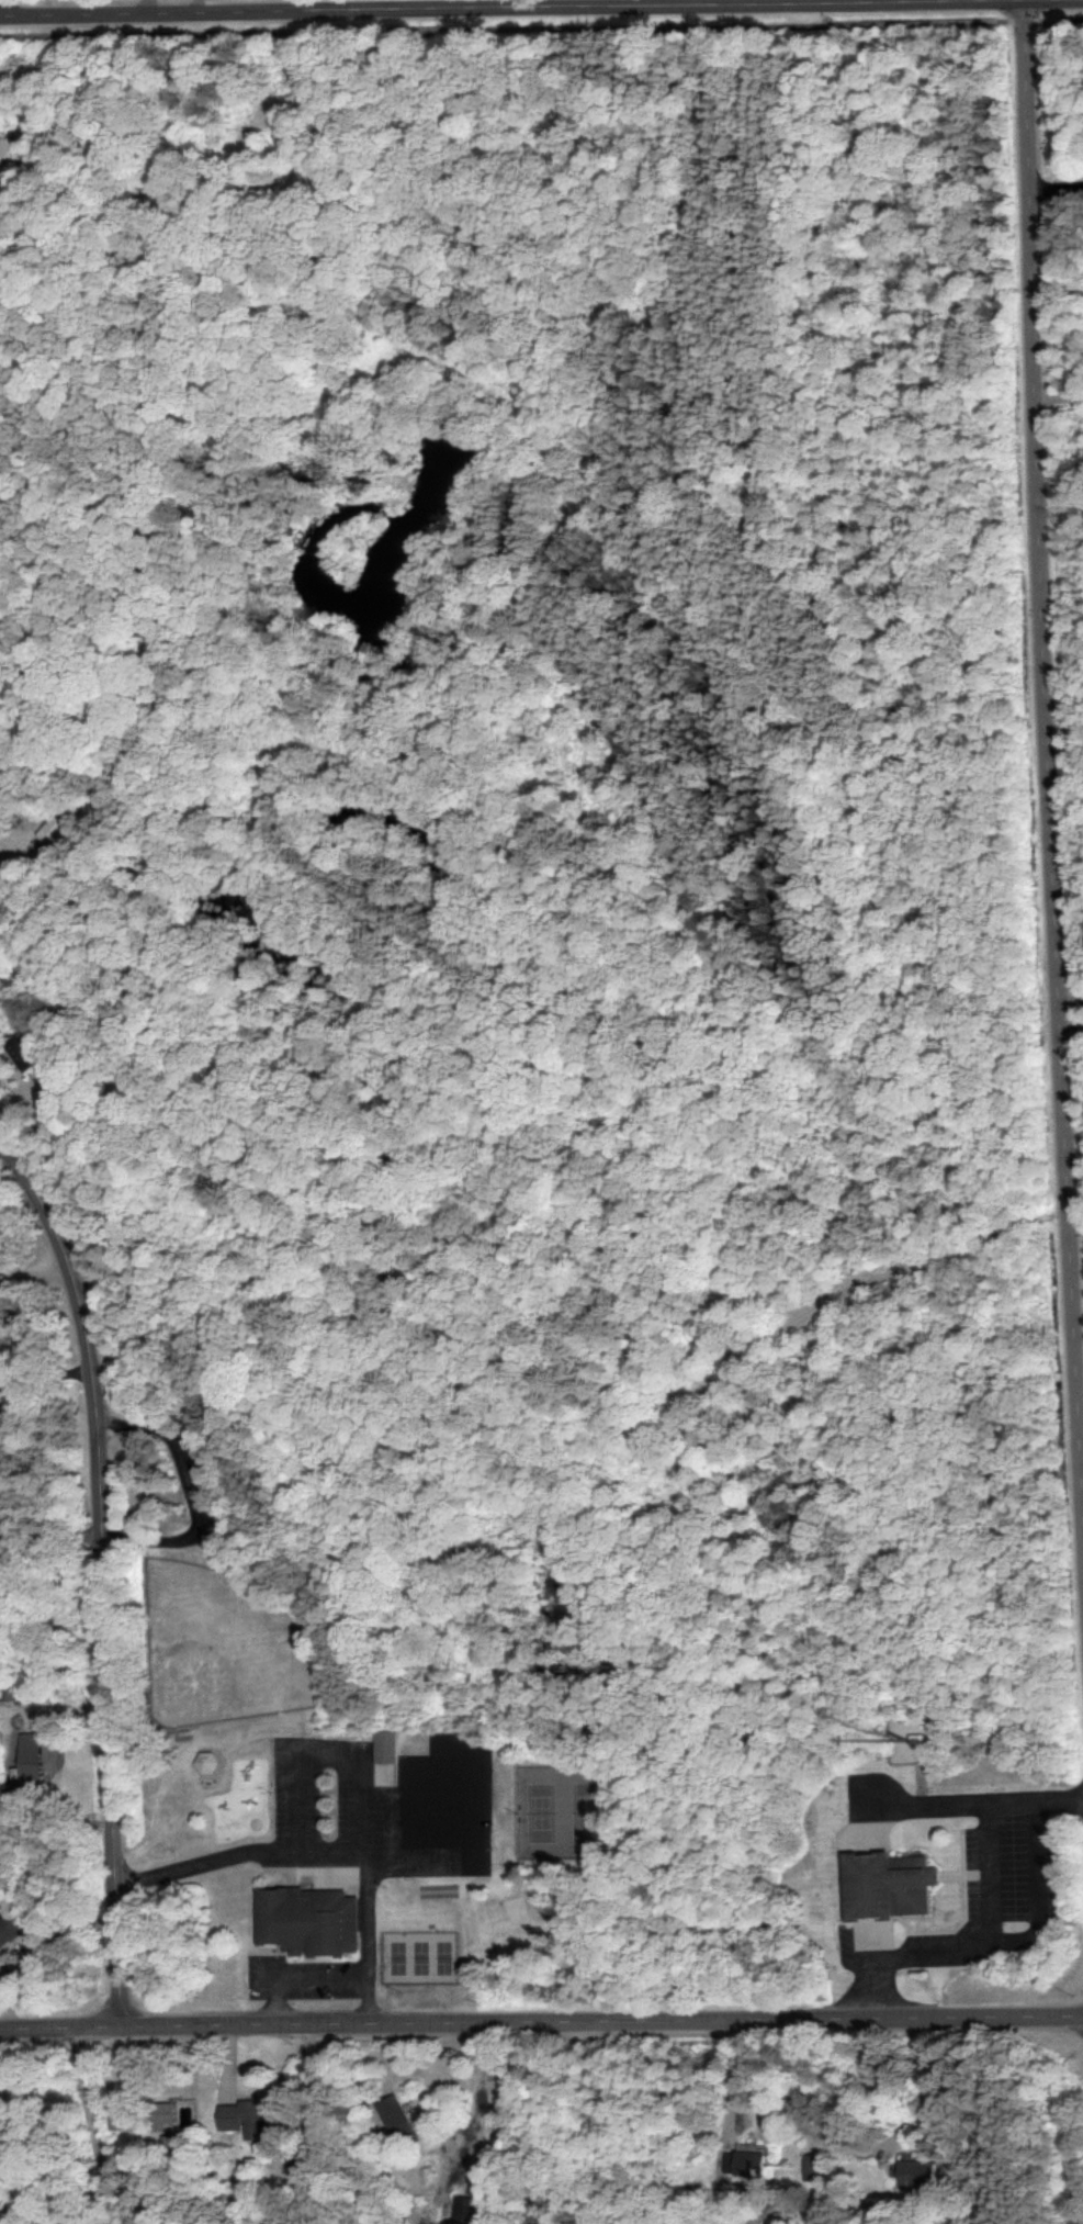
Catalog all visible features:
road: (145, 5)
road: (195, 5)
road: (510, 7)
road: (541, 26)
road: (1057, 294)
road: (1058, 393)
road: (1040, 797)
road: (14, 868)
road: (1063, 989)
road: (1064, 1019)
building: (26, 1053)
road: (2, 1153)
road: (34, 1272)
road: (100, 1574)
road: (32, 1703)
building: (382, 1746)
building: (27, 1757)
building: (202, 1762)
road: (467, 1773)
road: (945, 1801)
road: (319, 1852)
road: (984, 1873)
building: (882, 1885)
building: (305, 1921)
building: (10, 1928)
road: (1016, 1941)
road: (295, 1977)
road: (541, 2021)
road: (797, 2082)
road: (910, 2082)
road: (714, 2096)
road: (481, 2105)
building: (159, 2115)
building: (244, 2118)
building: (396, 2118)
road: (87, 2124)
road: (571, 2126)
building: (741, 2164)
building: (810, 2166)
building: (914, 2172)
building: (460, 2210)

